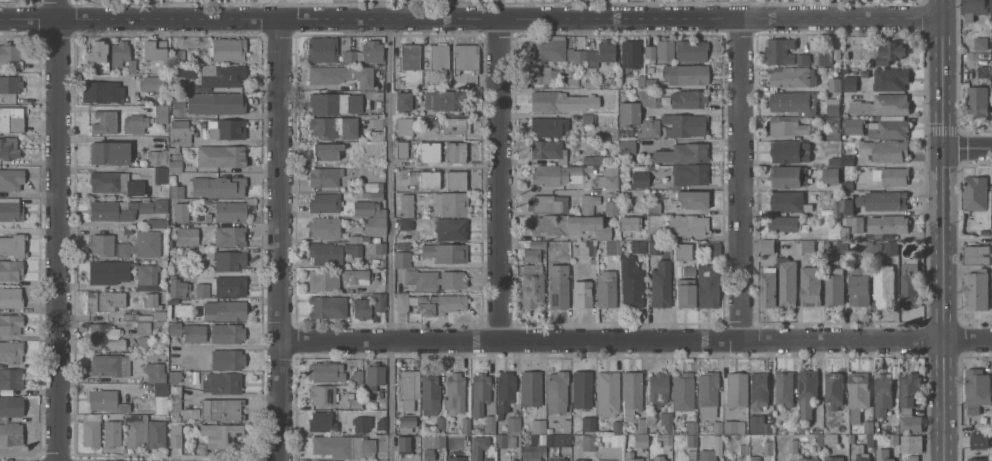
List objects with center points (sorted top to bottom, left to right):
road: (60, 8)
road: (837, 8)
building: (974, 8)
building: (991, 13)
road: (469, 16)
building: (981, 43)
building: (547, 48)
building: (155, 49)
building: (227, 49)
building: (323, 49)
building: (665, 49)
building: (691, 50)
building: (372, 51)
building: (780, 51)
building: (631, 53)
building: (893, 53)
building: (12, 54)
building: (98, 54)
building: (599, 54)
building: (651, 54)
building: (837, 54)
building: (576, 55)
building: (122, 56)
building: (177, 56)
building: (351, 56)
building: (410, 56)
building: (439, 56)
building: (823, 56)
building: (465, 58)
building: (803, 59)
building: (991, 68)
building: (985, 73)
building: (341, 74)
building: (542, 74)
building: (686, 74)
building: (182, 75)
building: (223, 76)
building: (381, 76)
building: (793, 76)
building: (891, 79)
building: (573, 81)
building: (639, 81)
building: (650, 81)
building: (153, 82)
building: (850, 83)
building: (11, 84)
building: (591, 84)
building: (835, 84)
building: (439, 85)
building: (102, 91)
building: (165, 95)
building: (173, 95)
building: (649, 97)
building: (688, 99)
building: (448, 100)
building: (403, 101)
building: (562, 101)
building: (978, 101)
building: (794, 102)
building: (215, 103)
building: (335, 103)
building: (882, 105)
building: (833, 109)
road: (700, 110)
building: (369, 111)
building: (377, 111)
building: (844, 112)
building: (162, 113)
building: (628, 113)
building: (589, 118)
building: (11, 119)
building: (833, 121)
building: (104, 122)
building: (432, 122)
building: (135, 124)
building: (684, 124)
building: (453, 125)
building: (854, 125)
building: (334, 126)
building: (549, 126)
building: (789, 126)
building: (407, 127)
building: (227, 128)
building: (649, 128)
building: (890, 128)
building: (180, 131)
building: (376, 135)
building: (831, 135)
road: (100, 138)
building: (627, 147)
building: (8, 148)
road: (966, 148)
building: (402, 149)
building: (549, 150)
building: (327, 151)
building: (890, 151)
building: (110, 152)
building: (430, 152)
building: (456, 152)
building: (791, 152)
building: (173, 153)
building: (683, 153)
building: (221, 155)
building: (159, 156)
building: (595, 159)
building: (848, 160)
building: (834, 161)
road: (30, 162)
building: (176, 165)
building: (347, 168)
building: (161, 174)
building: (690, 174)
building: (555, 175)
building: (325, 176)
building: (789, 176)
building: (831, 176)
building: (892, 176)
building: (607, 177)
building: (11, 179)
building: (429, 179)
building: (456, 179)
road: (499, 179)
building: (640, 179)
road: (741, 179)
building: (116, 183)
building: (853, 185)
building: (219, 186)
building: (374, 186)
building: (177, 191)
building: (976, 193)
building: (372, 195)
building: (9, 199)
building: (692, 199)
building: (883, 201)
building: (325, 202)
building: (451, 202)
building: (789, 202)
building: (548, 203)
building: (588, 203)
building: (161, 205)
building: (406, 205)
building: (848, 206)
building: (611, 207)
building: (654, 207)
building: (368, 208)
building: (113, 210)
building: (11, 211)
building: (181, 211)
building: (231, 211)
building: (630, 222)
building: (157, 223)
building: (406, 223)
building: (855, 223)
building: (784, 224)
building: (889, 224)
building: (375, 225)
building: (570, 225)
building: (687, 225)
building: (324, 228)
building: (452, 229)
road: (940, 230)
building: (834, 232)
building: (846, 233)
building: (985, 233)
building: (187, 236)
building: (231, 236)
road: (279, 236)
road: (59, 238)
building: (359, 238)
road: (390, 238)
building: (376, 239)
building: (536, 244)
building: (13, 245)
building: (126, 245)
building: (404, 246)
building: (568, 246)
building: (700, 246)
building: (712, 246)
building: (768, 246)
building: (808, 246)
building: (843, 246)
building: (866, 246)
building: (378, 247)
building: (613, 247)
building: (638, 247)
building: (653, 247)
building: (591, 248)
building: (891, 248)
building: (877, 249)
building: (682, 251)
building: (192, 252)
building: (446, 252)
building: (333, 253)
building: (977, 254)
building: (531, 255)
building: (564, 256)
building: (402, 259)
building: (230, 260)
building: (817, 261)
building: (165, 263)
building: (11, 269)
building: (689, 270)
building: (124, 273)
building: (333, 278)
building: (434, 279)
building: (631, 282)
building: (788, 282)
building: (911, 283)
building: (228, 285)
building: (532, 285)
building: (708, 285)
building: (811, 286)
building: (835, 286)
building: (860, 286)
building: (884, 286)
building: (177, 287)
building: (768, 288)
building: (606, 289)
building: (661, 289)
building: (977, 289)
building: (203, 290)
building: (558, 292)
building: (685, 292)
building: (582, 294)
building: (10, 297)
building: (104, 301)
building: (152, 301)
building: (432, 303)
building: (369, 305)
building: (328, 307)
building: (225, 310)
building: (159, 315)
building: (136, 316)
building: (10, 324)
building: (144, 328)
building: (175, 329)
building: (194, 333)
building: (227, 333)
building: (106, 338)
road: (967, 338)
road: (609, 340)
building: (142, 341)
road: (228, 345)
building: (11, 351)
building: (227, 359)
building: (109, 367)
building: (326, 371)
building: (160, 373)
building: (358, 376)
building: (374, 377)
building: (11, 379)
building: (175, 383)
building: (222, 383)
building: (785, 388)
building: (153, 389)
building: (406, 389)
building: (582, 389)
building: (658, 389)
building: (736, 389)
building: (358, 390)
building: (531, 390)
building: (759, 390)
building: (834, 390)
building: (977, 390)
building: (557, 391)
building: (683, 391)
building: (808, 391)
building: (505, 392)
building: (910, 392)
building: (455, 393)
building: (480, 393)
building: (607, 393)
building: (631, 393)
building: (883, 393)
building: (323, 394)
building: (430, 394)
building: (708, 394)
building: (859, 394)
building: (106, 401)
building: (356, 401)
building: (175, 404)
building: (10, 407)
building: (222, 409)
building: (441, 421)
building: (322, 422)
building: (667, 422)
building: (361, 423)
building: (382, 423)
building: (406, 423)
building: (490, 423)
building: (514, 424)
building: (591, 424)
building: (912, 424)
building: (466, 425)
building: (642, 425)
building: (760, 425)
building: (566, 426)
building: (730, 426)
building: (616, 427)
building: (717, 427)
building: (869, 427)
building: (689, 428)
building: (802, 429)
building: (91, 430)
building: (114, 430)
building: (136, 430)
building: (549, 430)
building: (156, 431)
building: (11, 433)
building: (221, 434)
building: (852, 436)
building: (803, 437)
building: (666, 438)
building: (831, 438)
building: (467, 439)
building: (539, 439)
building: (894, 439)
building: (506, 440)
building: (563, 440)
building: (692, 440)
building: (819, 440)
building: (870, 440)
building: (175, 441)
building: (433, 441)
building: (640, 441)
building: (980, 441)
building: (589, 443)
building: (403, 444)
building: (912, 444)
building: (345, 446)
building: (793, 446)
building: (610, 447)
building: (480, 448)
building: (769, 448)
building: (743, 449)
building: (626, 453)
building: (712, 453)
building: (859, 453)
building: (428, 454)
building: (692, 454)
building: (884, 455)
building: (912, 457)
building: (456, 458)
building: (531, 458)
building: (557, 458)
building: (658, 458)
building: (755, 458)
building: (834, 458)
building: (633, 459)
building: (807, 459)
building: (978, 459)
building: (332, 460)
building: (513, 460)
building: (582, 460)

